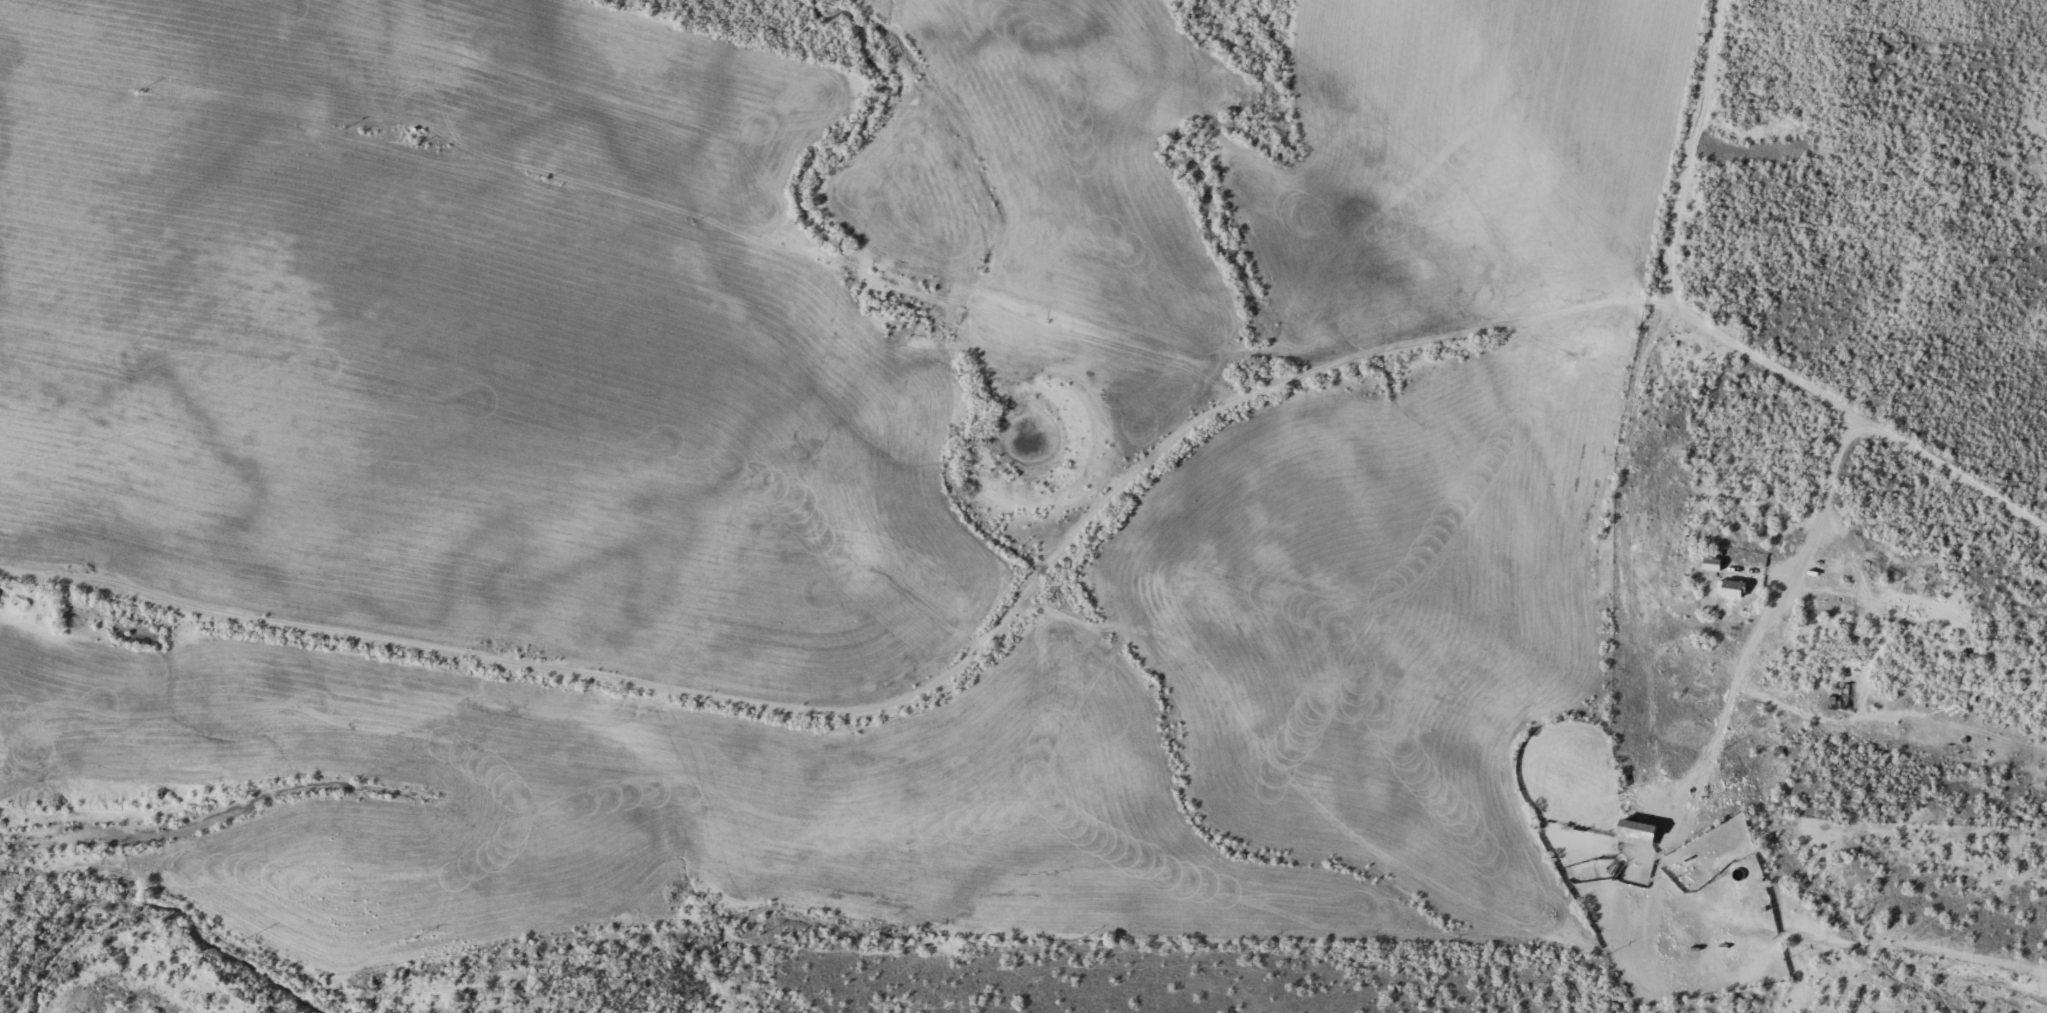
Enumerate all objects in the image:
road: (1684, 152)
road: (1536, 325)
building: (1706, 565)
building: (1726, 589)
road: (1768, 623)
road: (546, 674)
building: (1631, 834)

